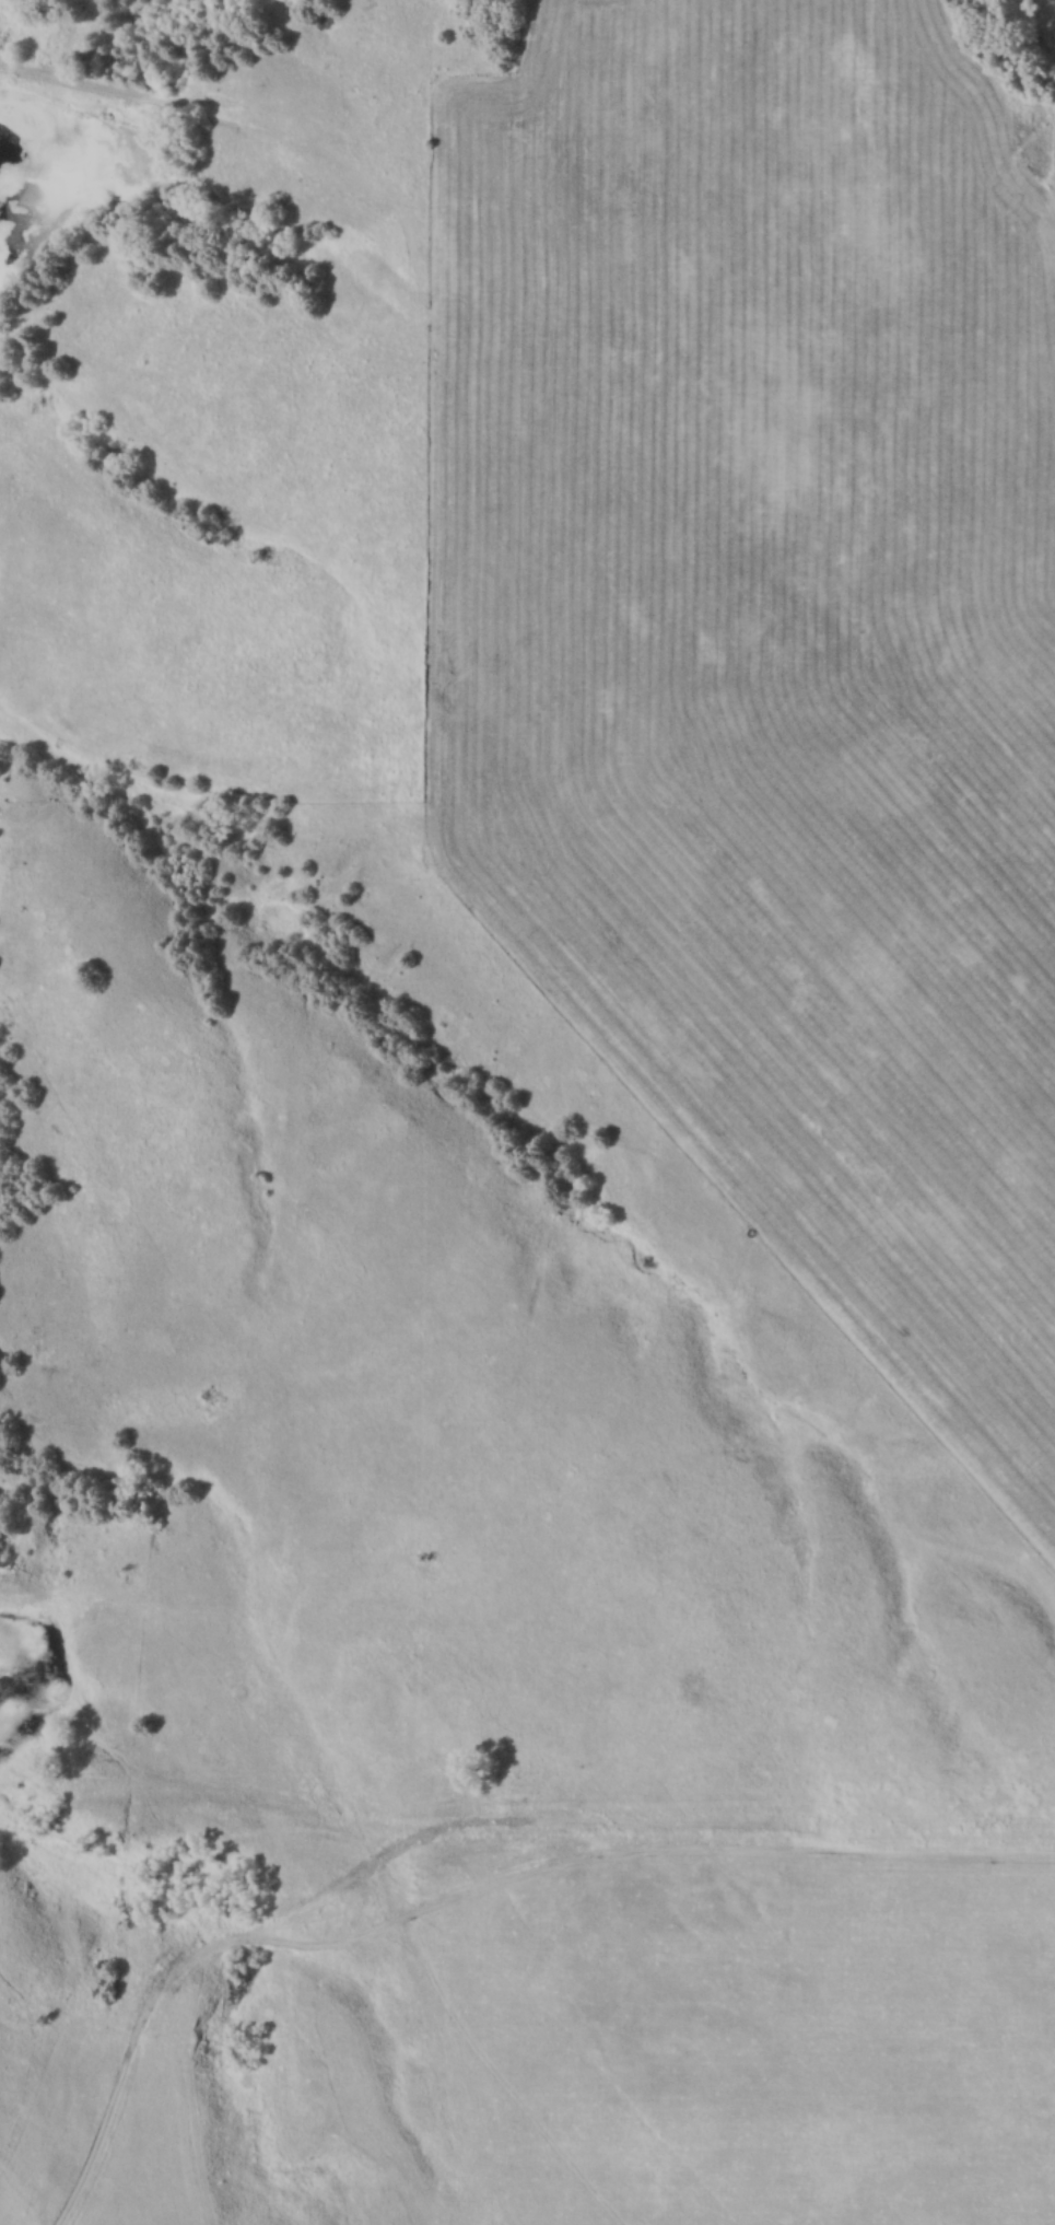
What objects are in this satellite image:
road: (458, 1829)

